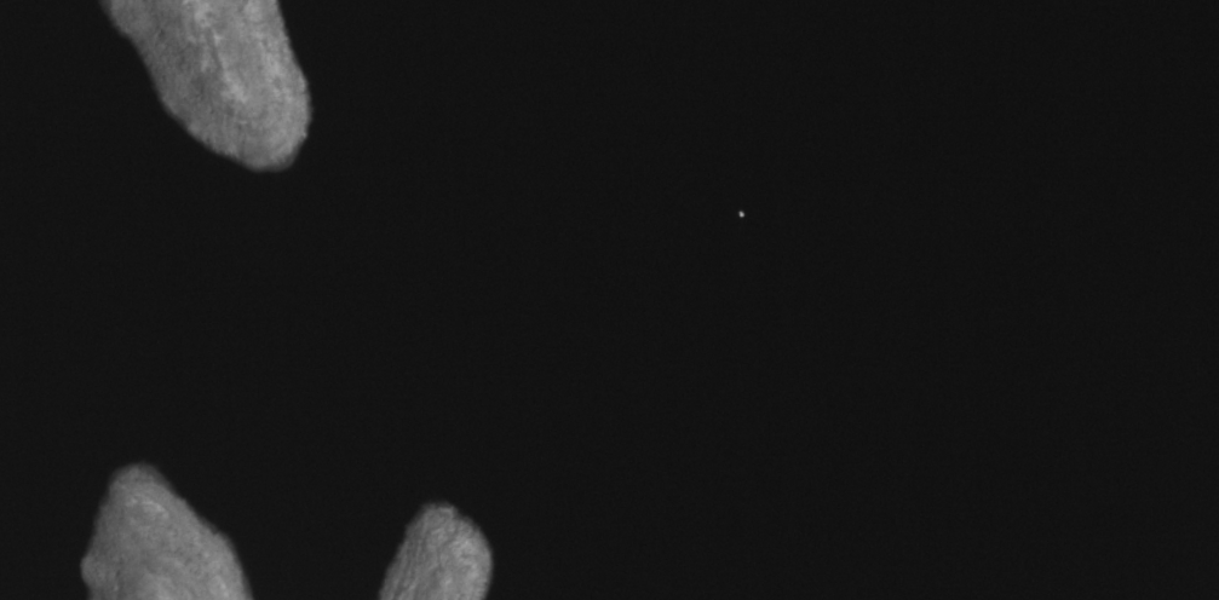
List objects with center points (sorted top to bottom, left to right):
park: (609, 300)

